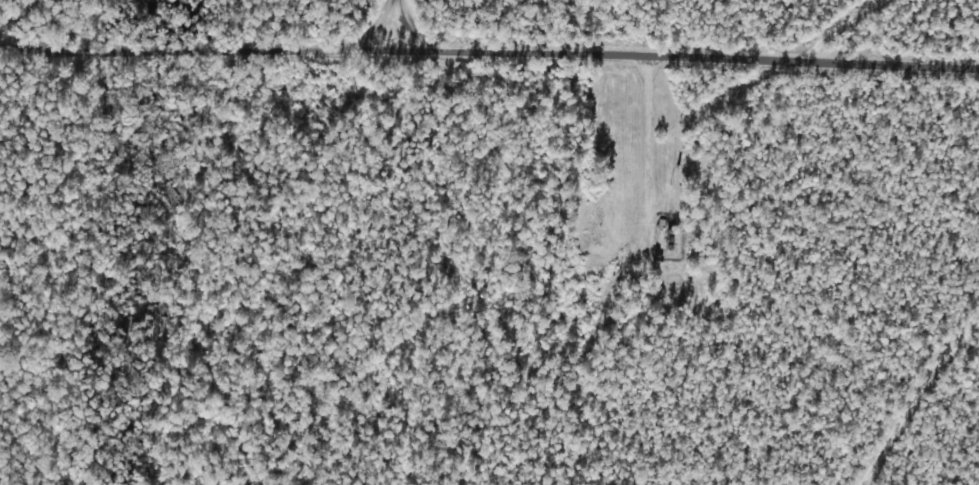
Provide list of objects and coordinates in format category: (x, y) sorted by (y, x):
road: (341, 20)
road: (489, 47)

